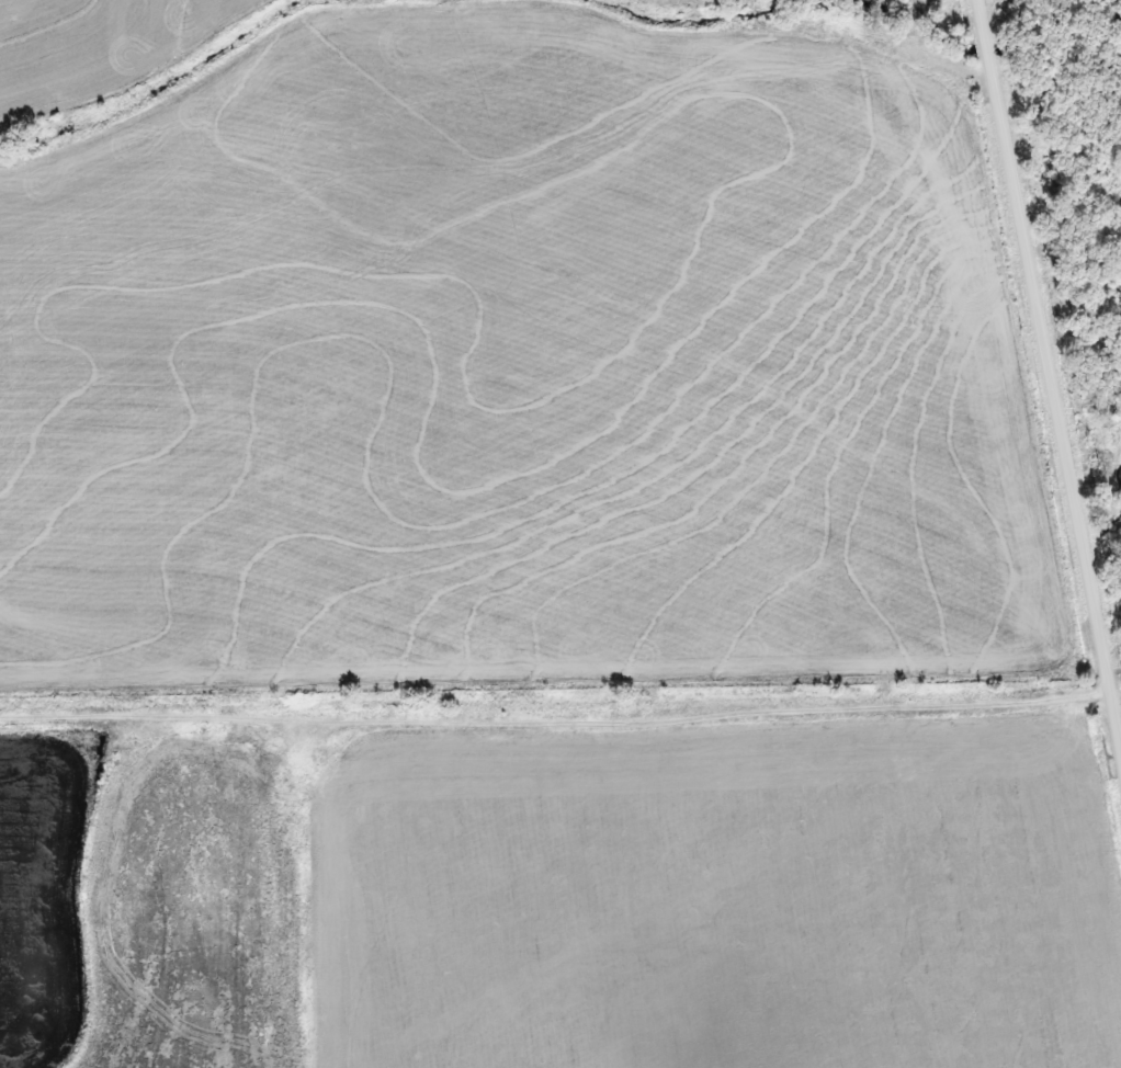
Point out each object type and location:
road: (1049, 365)

